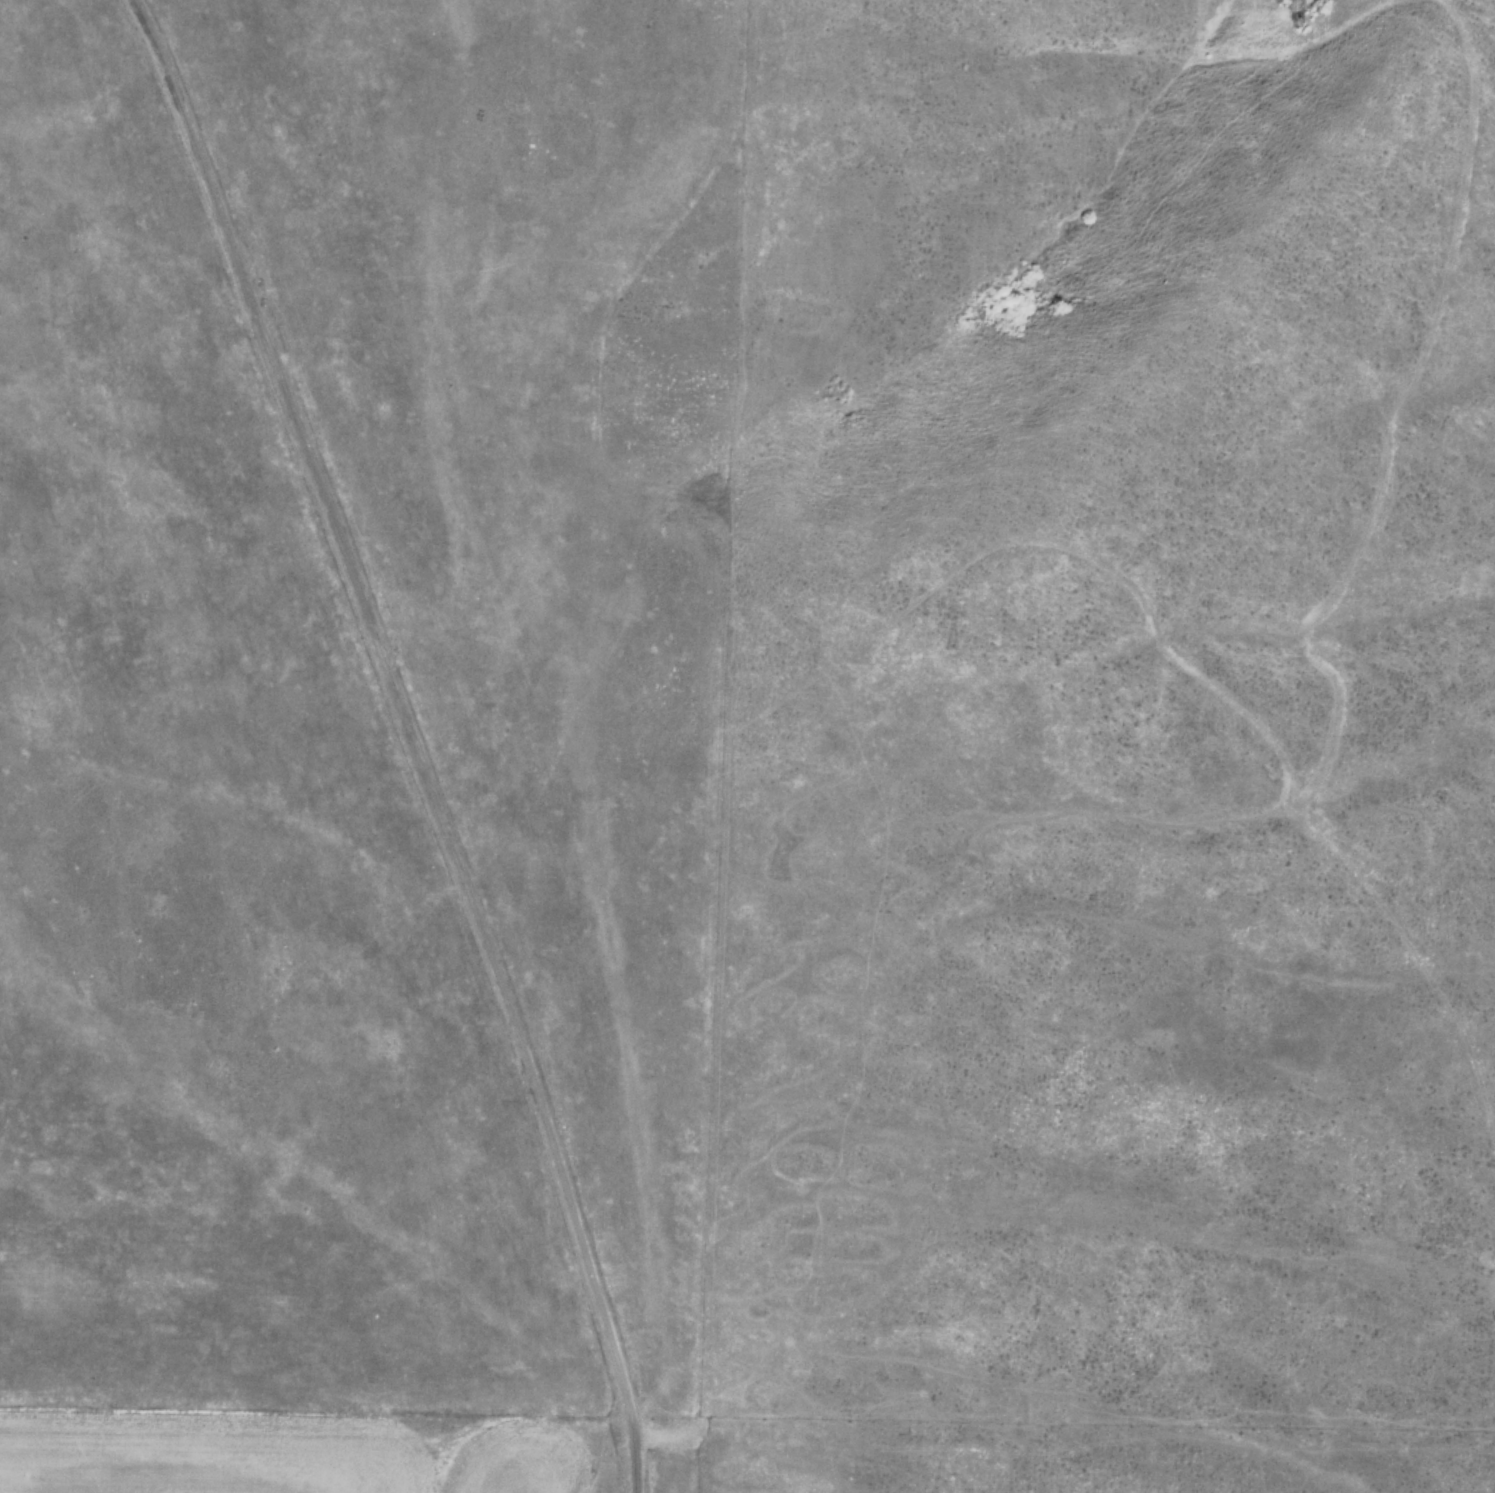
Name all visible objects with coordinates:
road: (414, 738)

